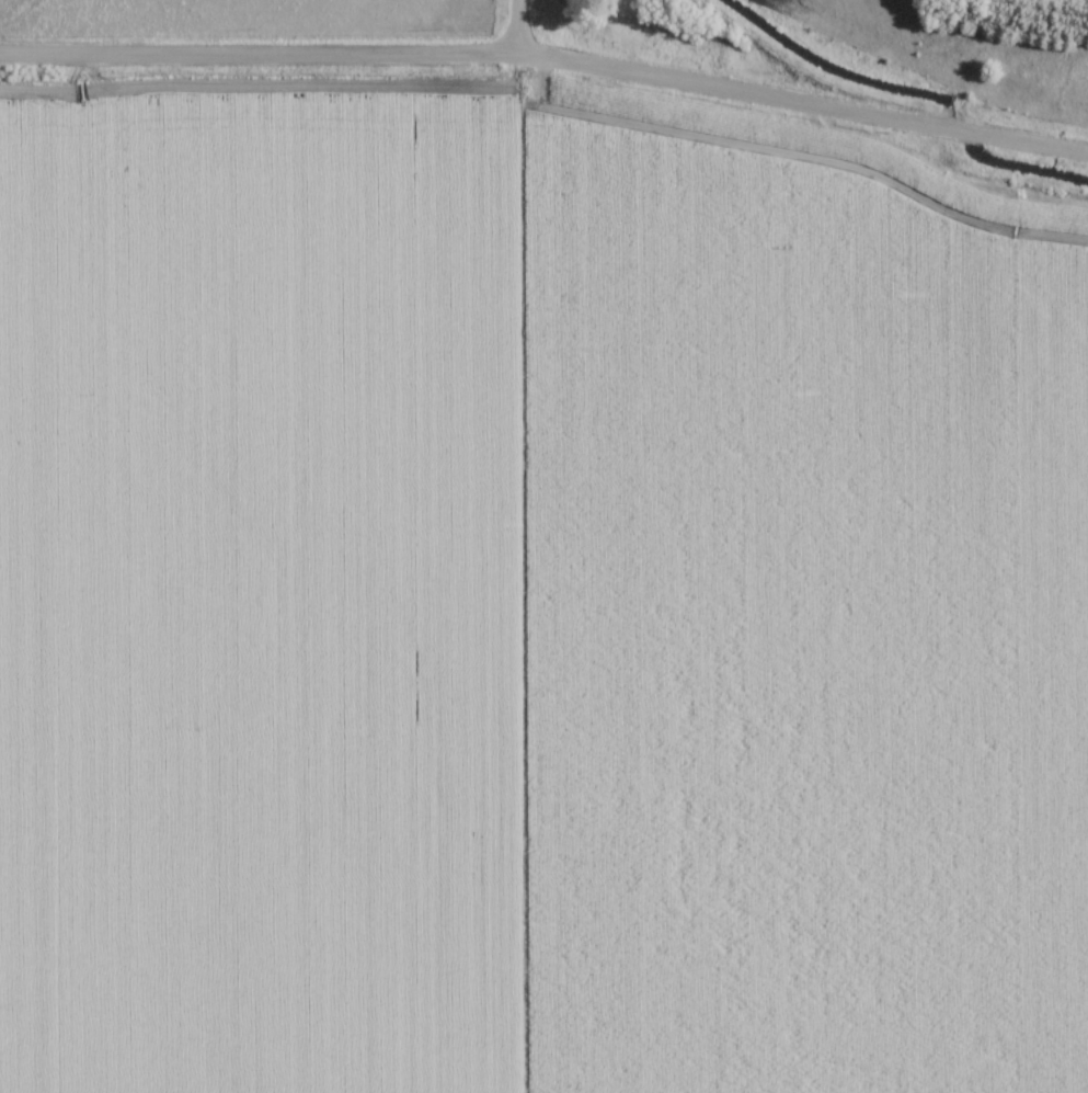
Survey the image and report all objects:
road: (519, 27)
road: (548, 59)
crop: (532, 605)

